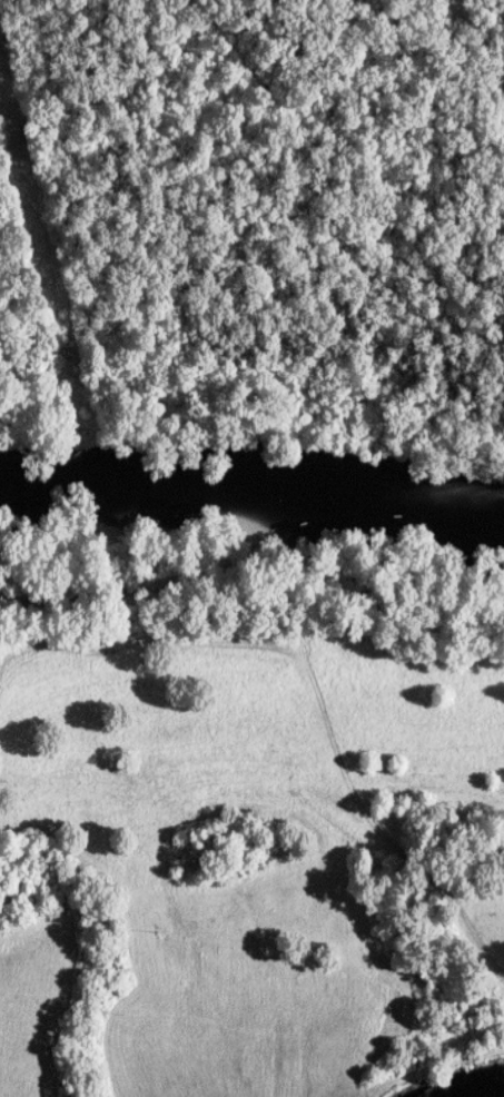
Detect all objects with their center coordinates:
river: (251, 486)

